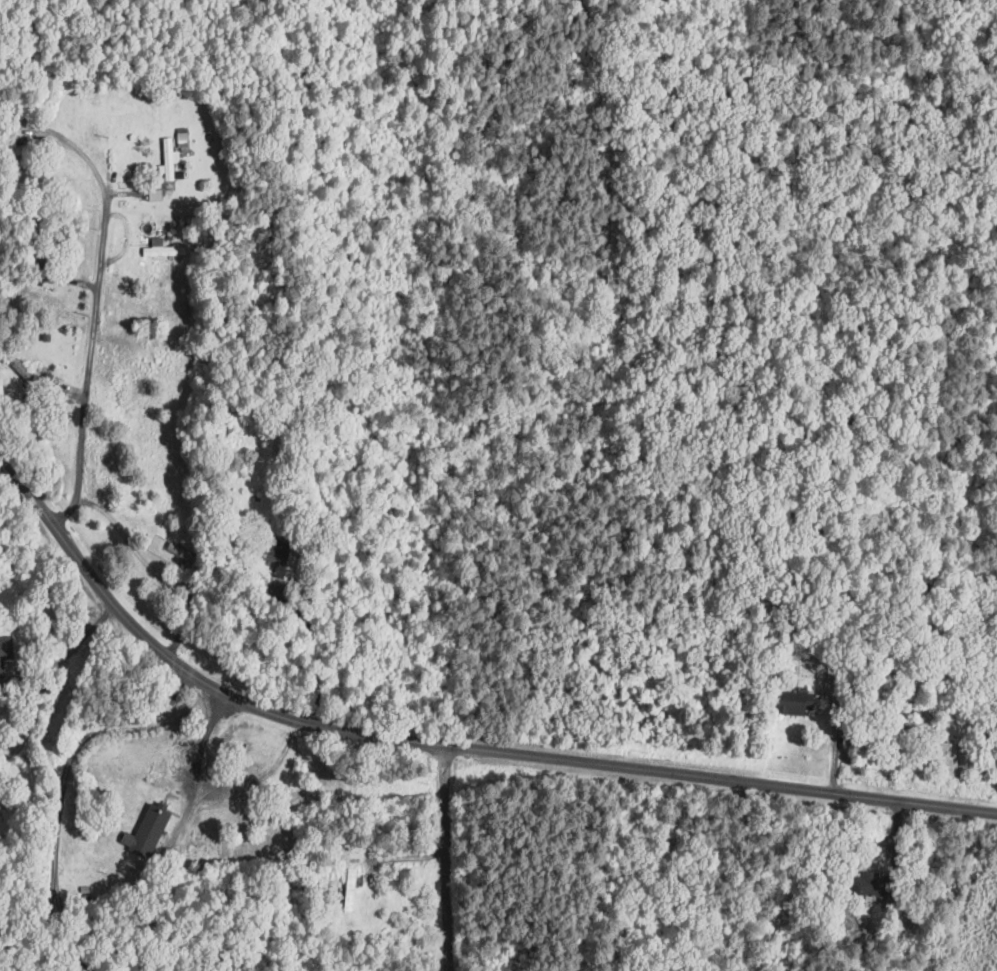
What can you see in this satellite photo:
road: (34, 44)
road: (86, 159)
building: (173, 159)
building: (165, 247)
road: (90, 365)
road: (87, 633)
road: (310, 642)
road: (29, 671)
road: (32, 715)
road: (441, 745)
road: (196, 767)
road: (261, 780)
road: (61, 782)
building: (150, 830)
road: (448, 858)
building: (354, 878)

